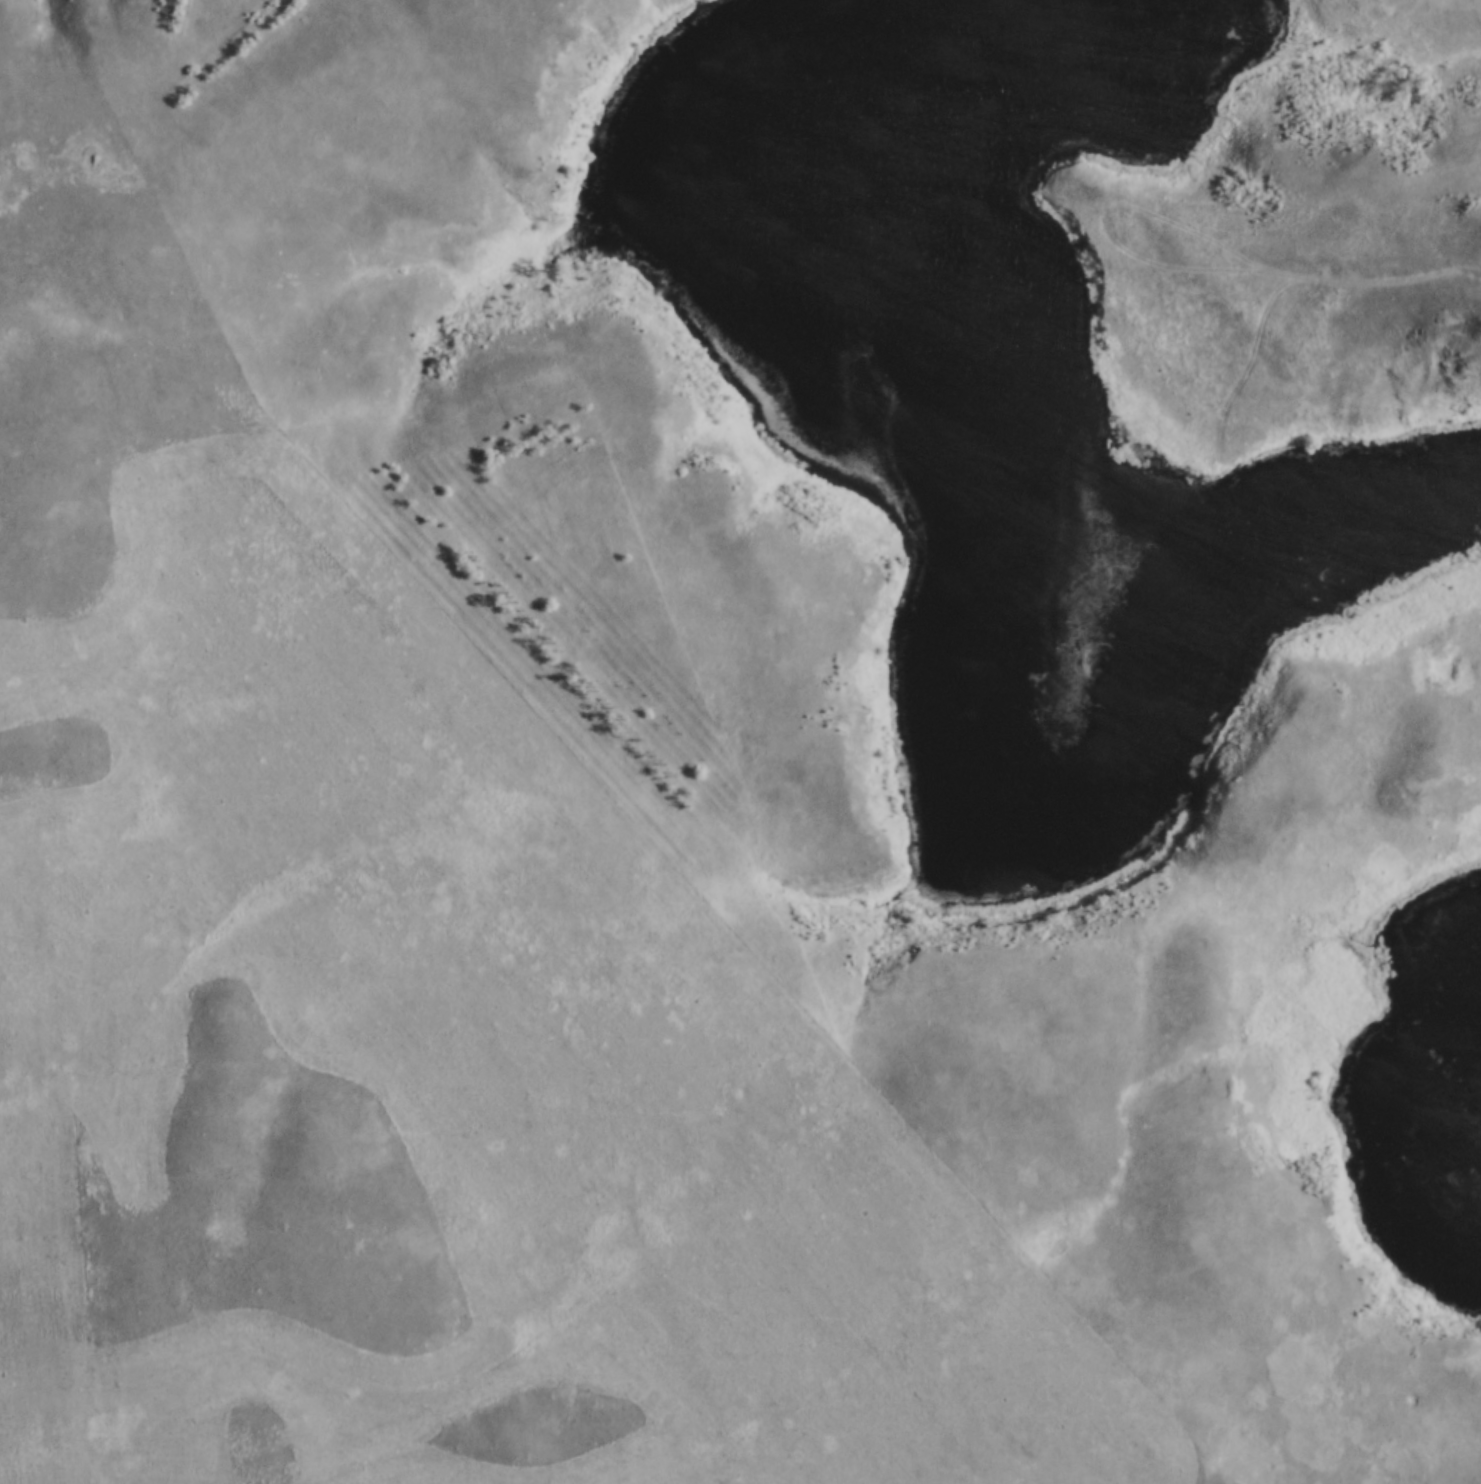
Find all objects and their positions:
road: (1402, 273)
park: (948, 567)

